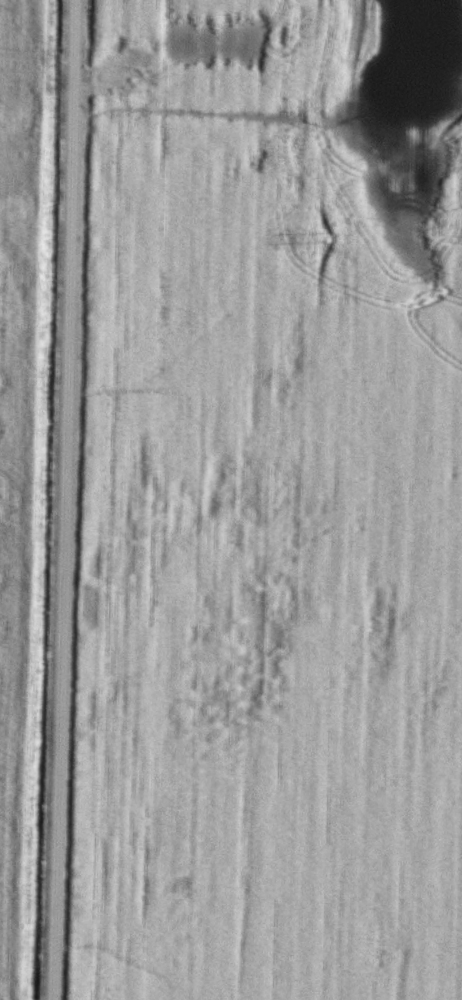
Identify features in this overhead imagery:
power tower: (313, 242)
road: (64, 500)

